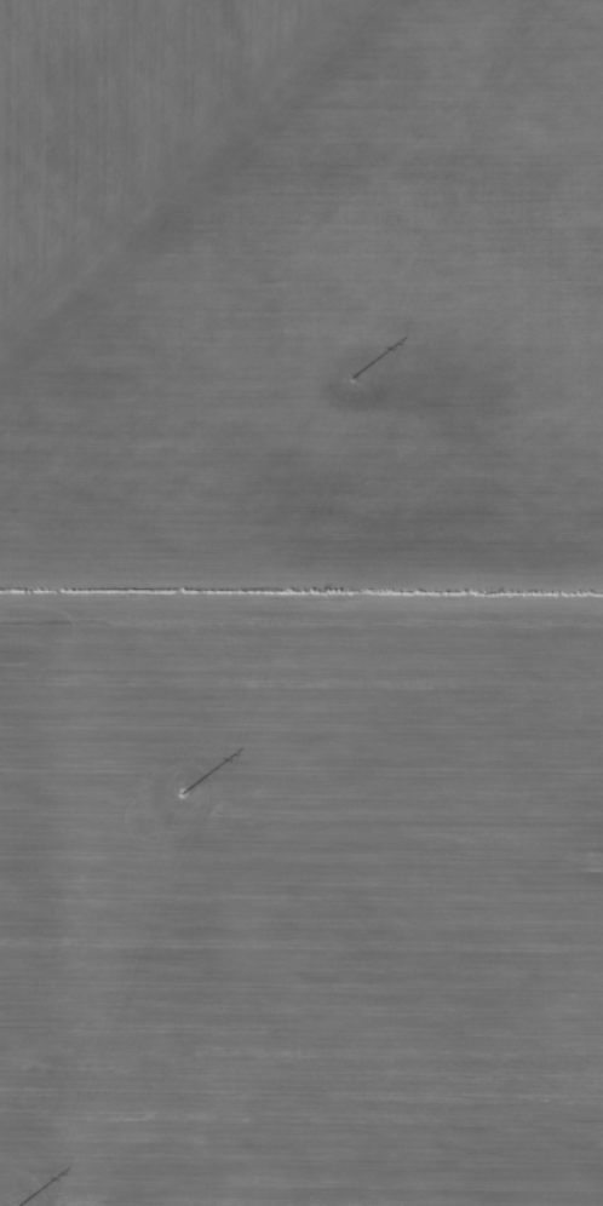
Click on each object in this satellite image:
power tower: (355, 373)
power tower: (184, 788)
power tower: (17, 1205)

